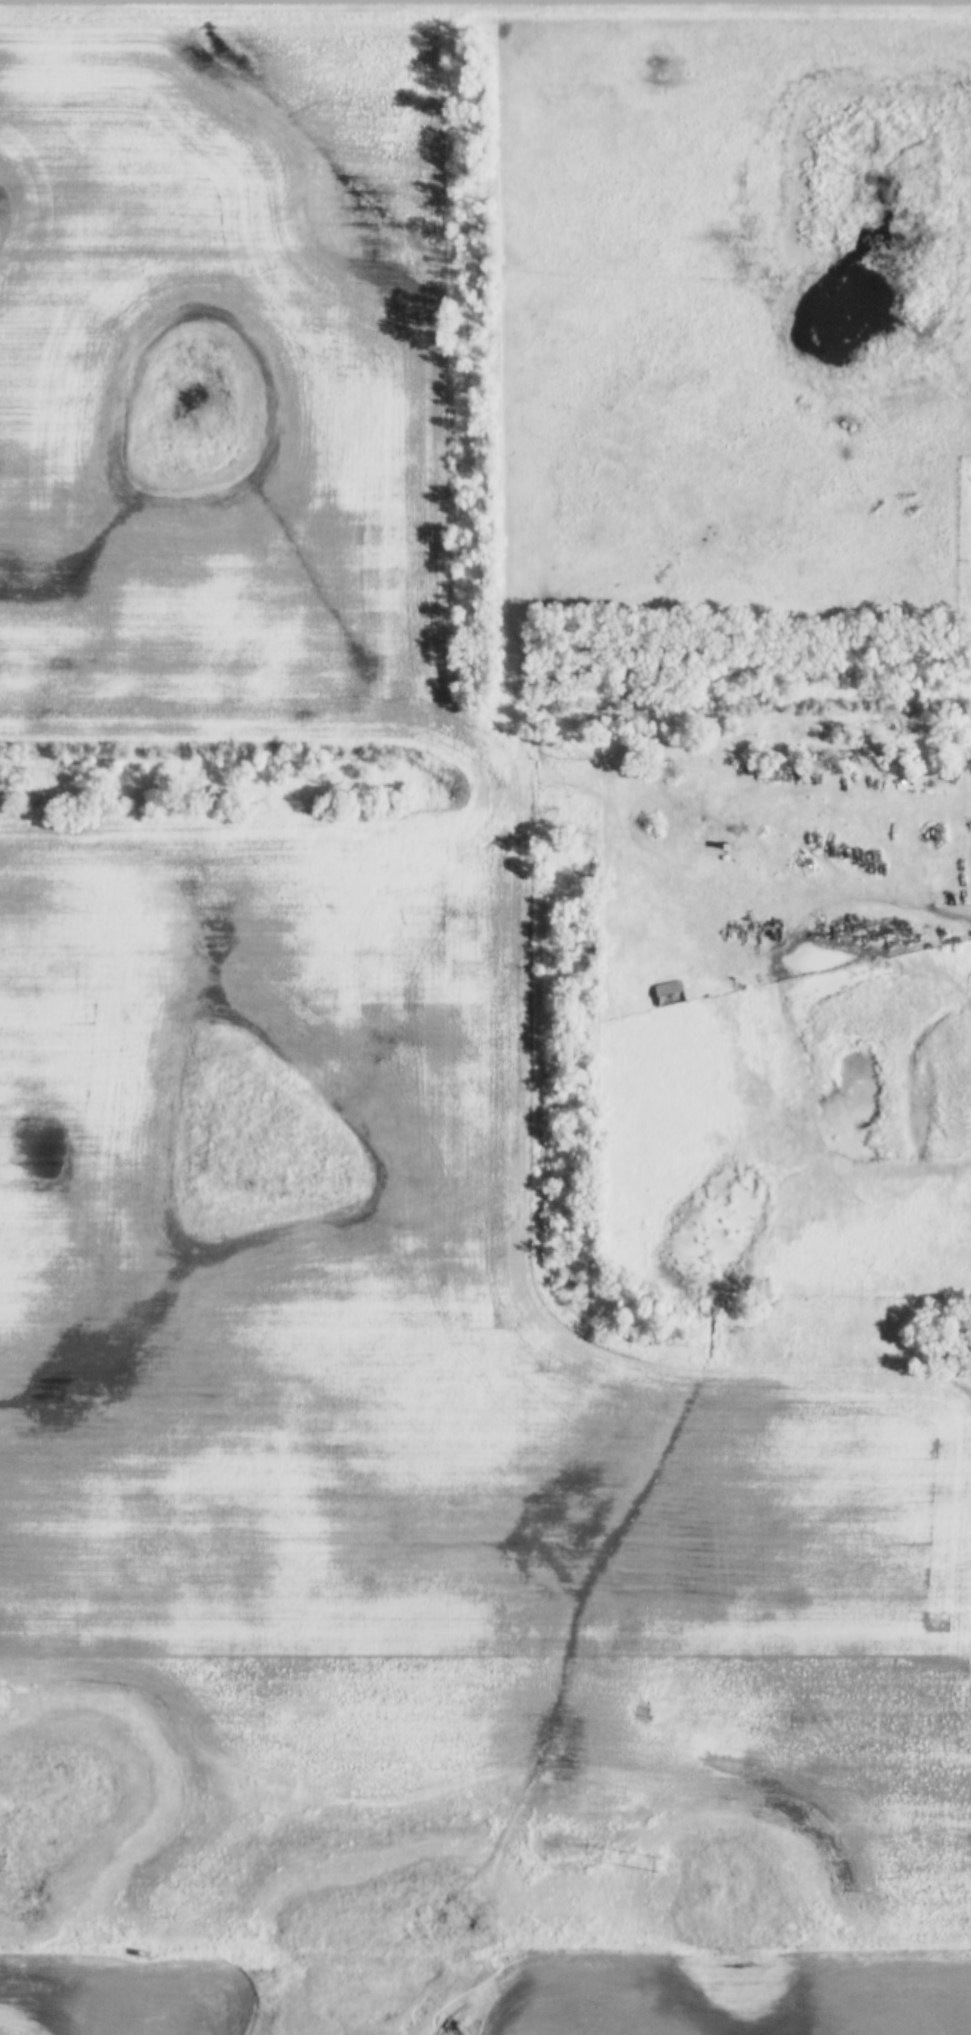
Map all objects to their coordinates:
building: (670, 994)
crop: (359, 1165)
power tower: (4, 1862)
power tower: (660, 1867)
crop: (144, 1995)
crop: (712, 1995)

